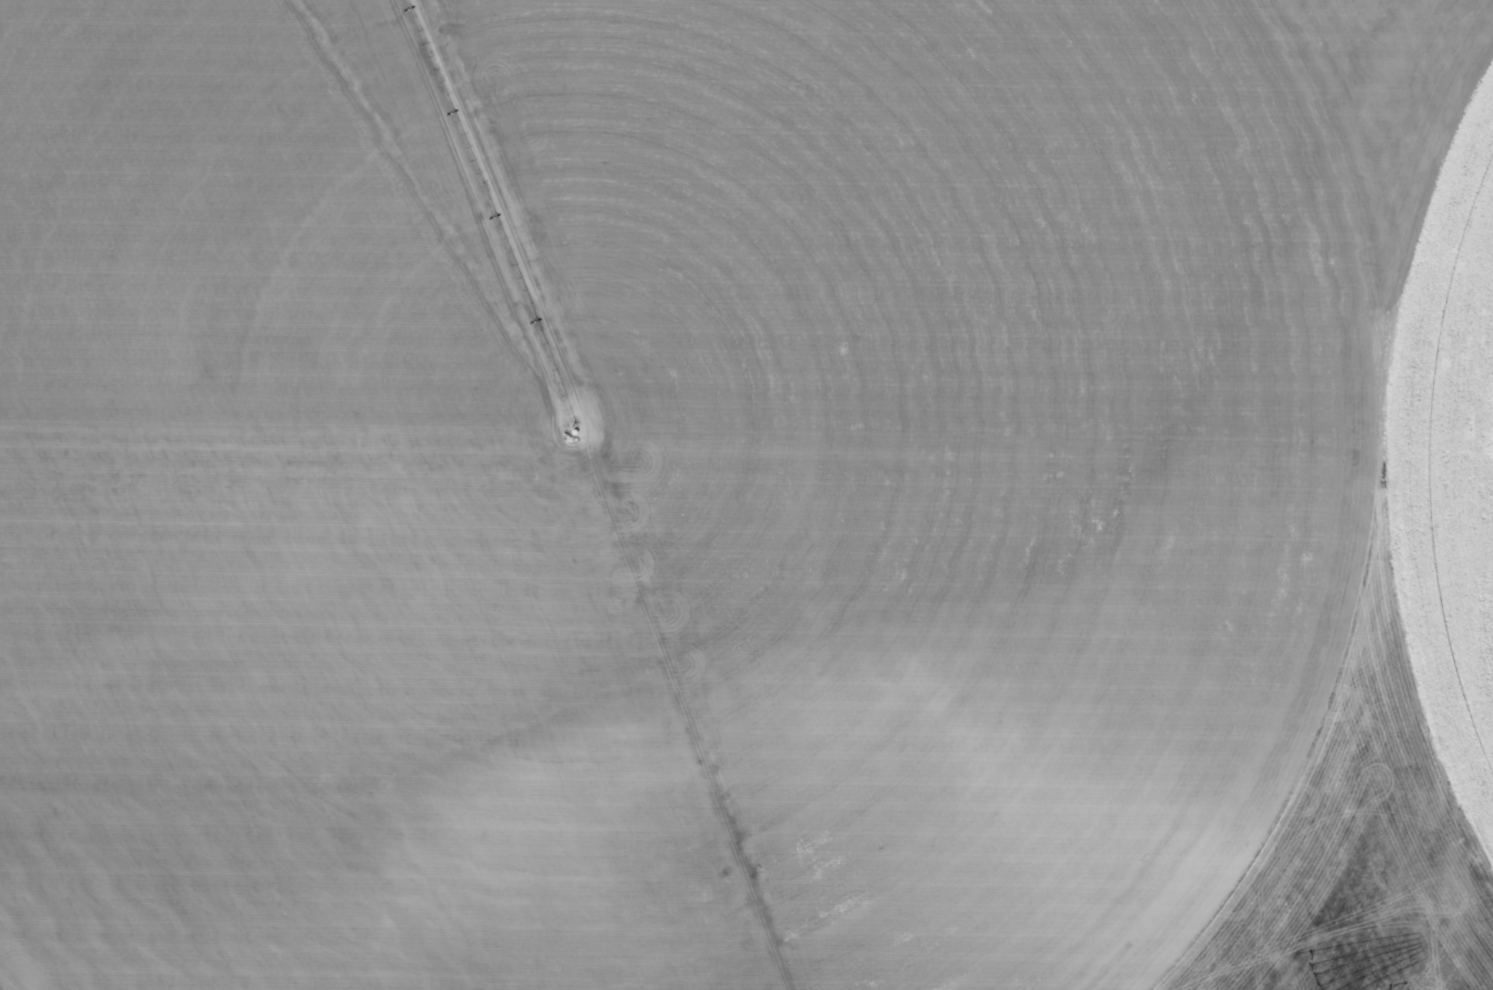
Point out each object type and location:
crop: (746, 495)

